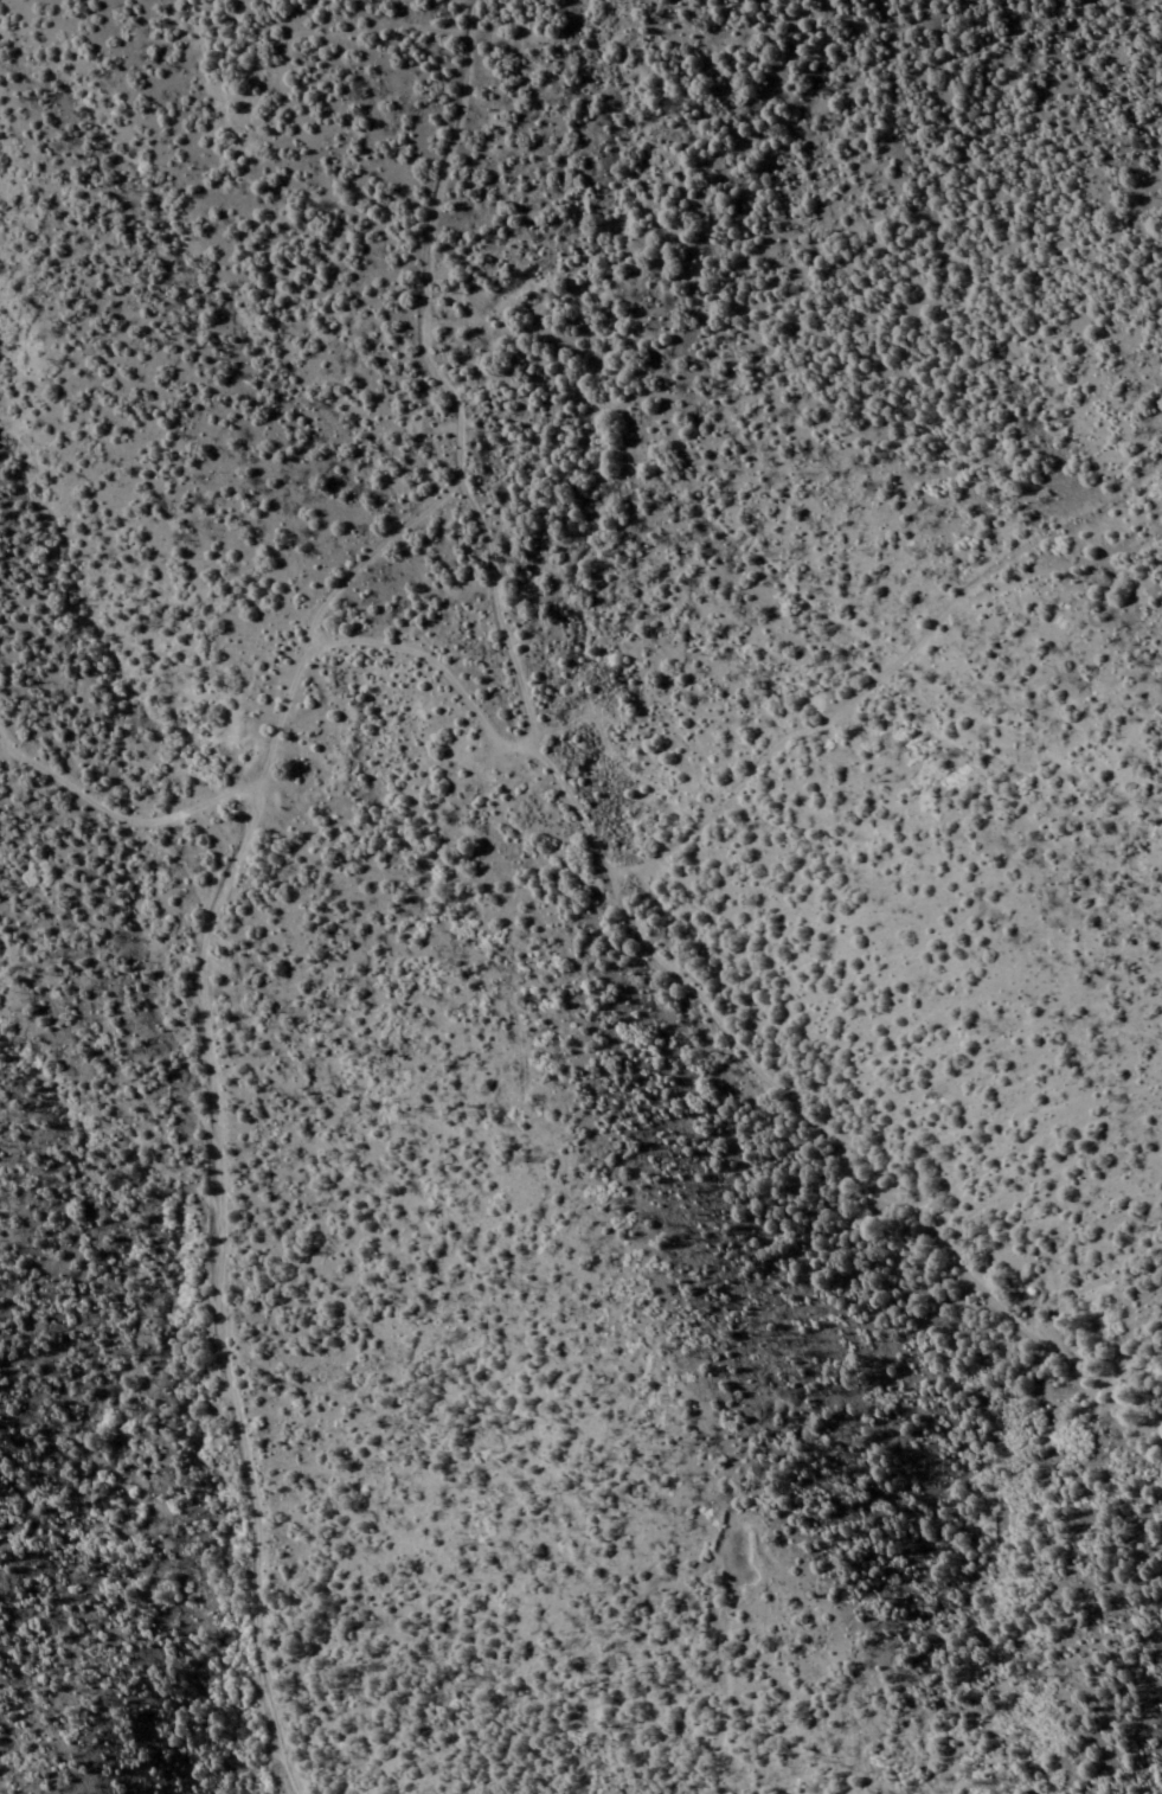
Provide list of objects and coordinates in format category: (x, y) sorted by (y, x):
road: (226, 1161)

